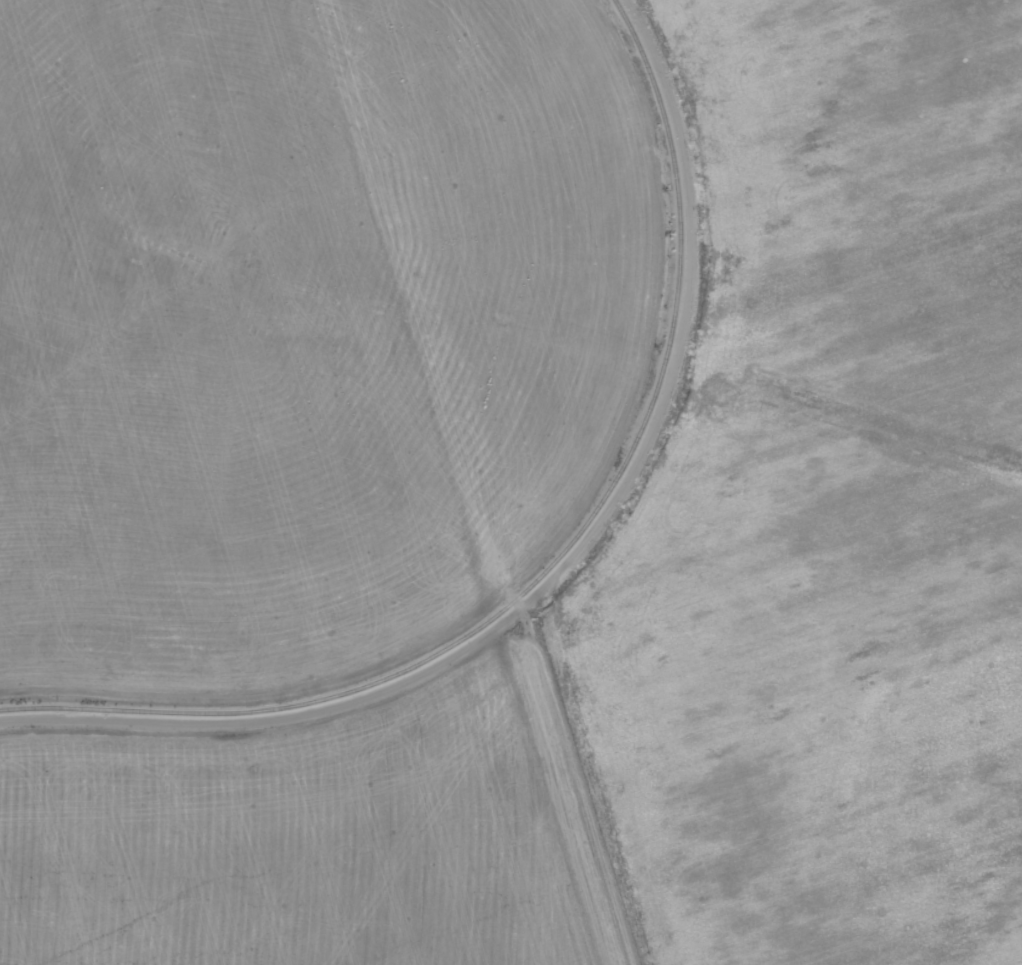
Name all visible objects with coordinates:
railway: (558, 560)

